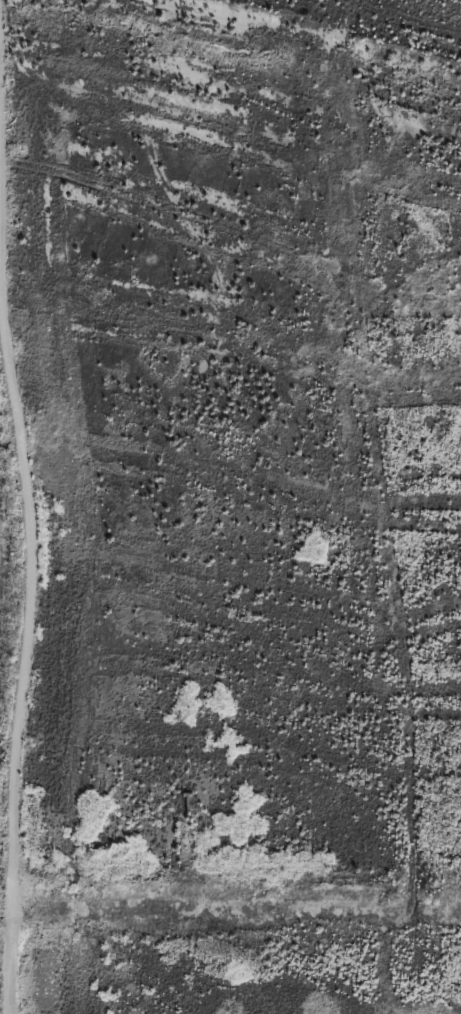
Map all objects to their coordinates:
road: (21, 671)

